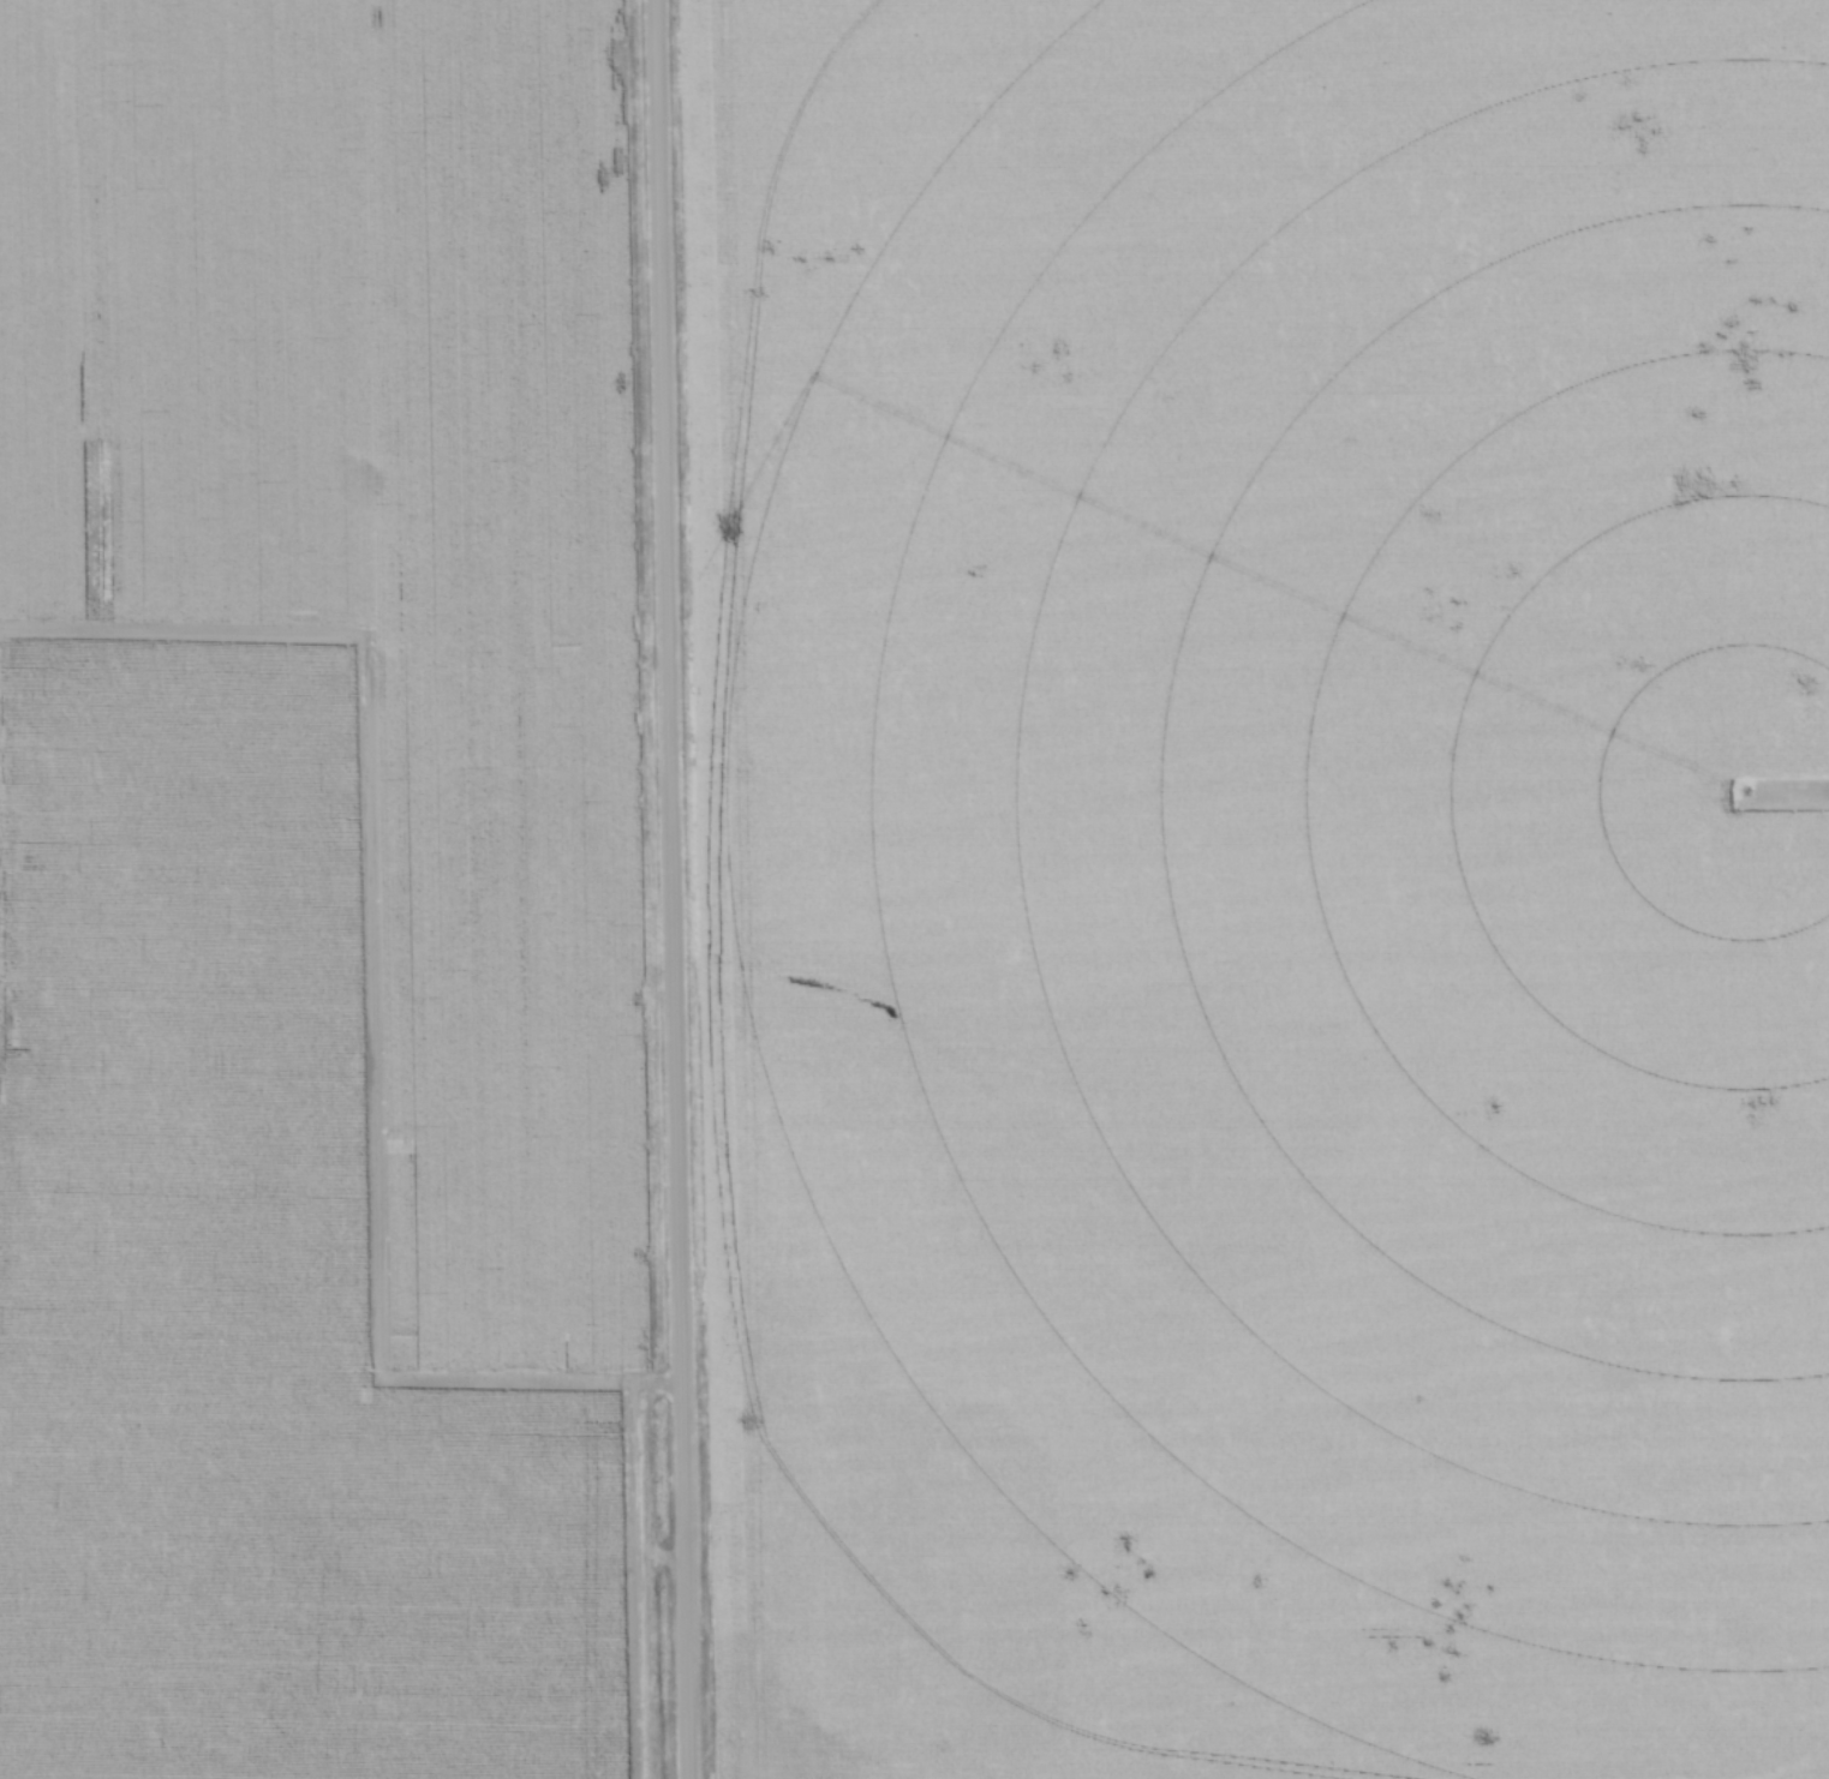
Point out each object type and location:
road: (664, 889)
crop: (243, 1283)

